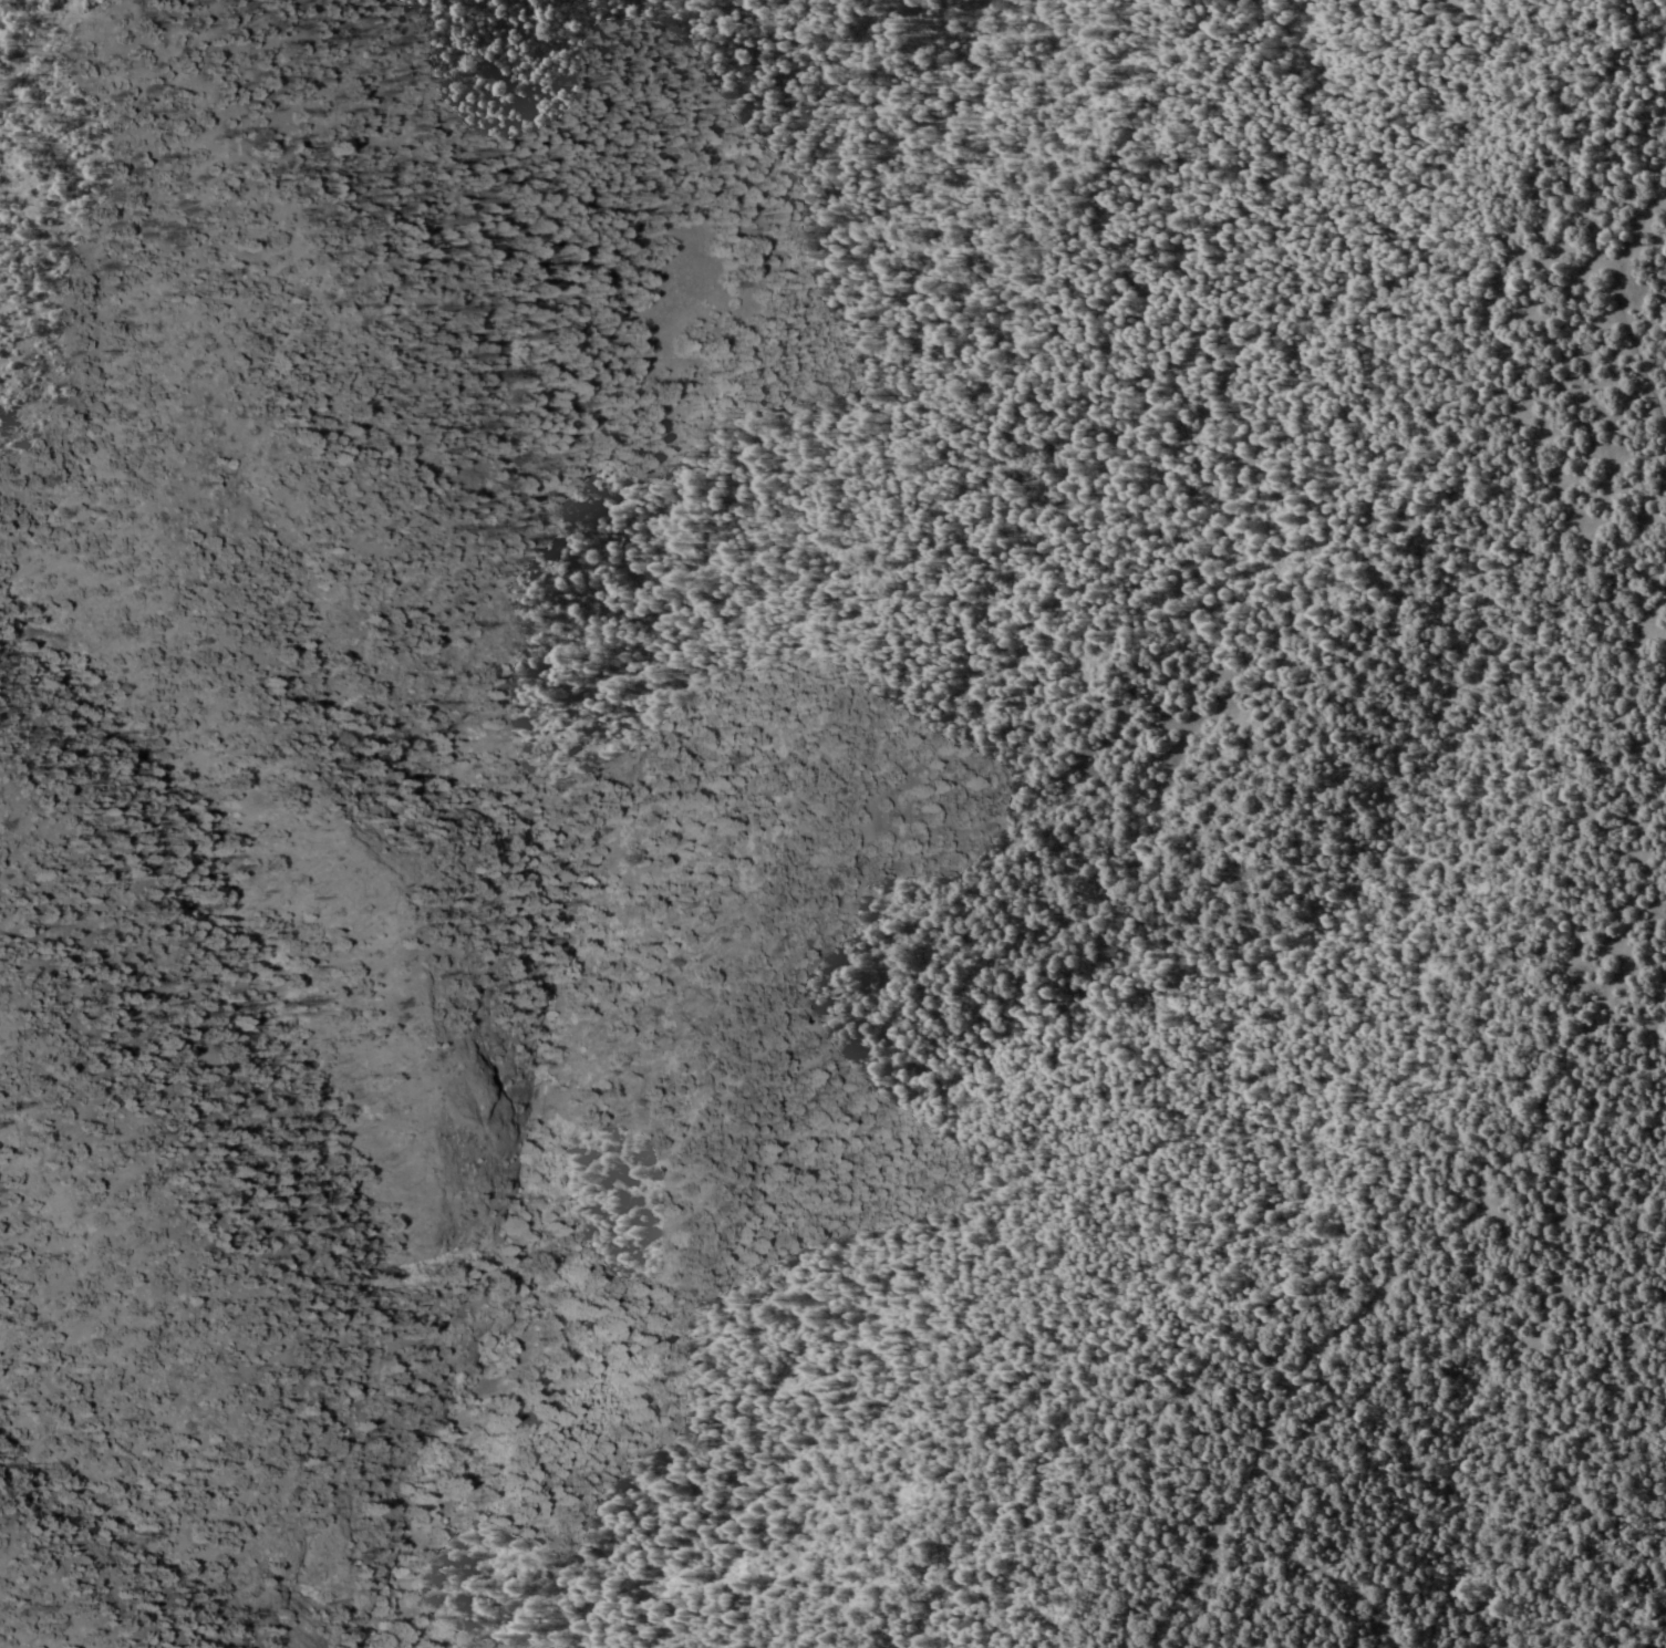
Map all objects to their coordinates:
road: (1631, 294)
road: (1404, 1268)
road: (1315, 1568)

